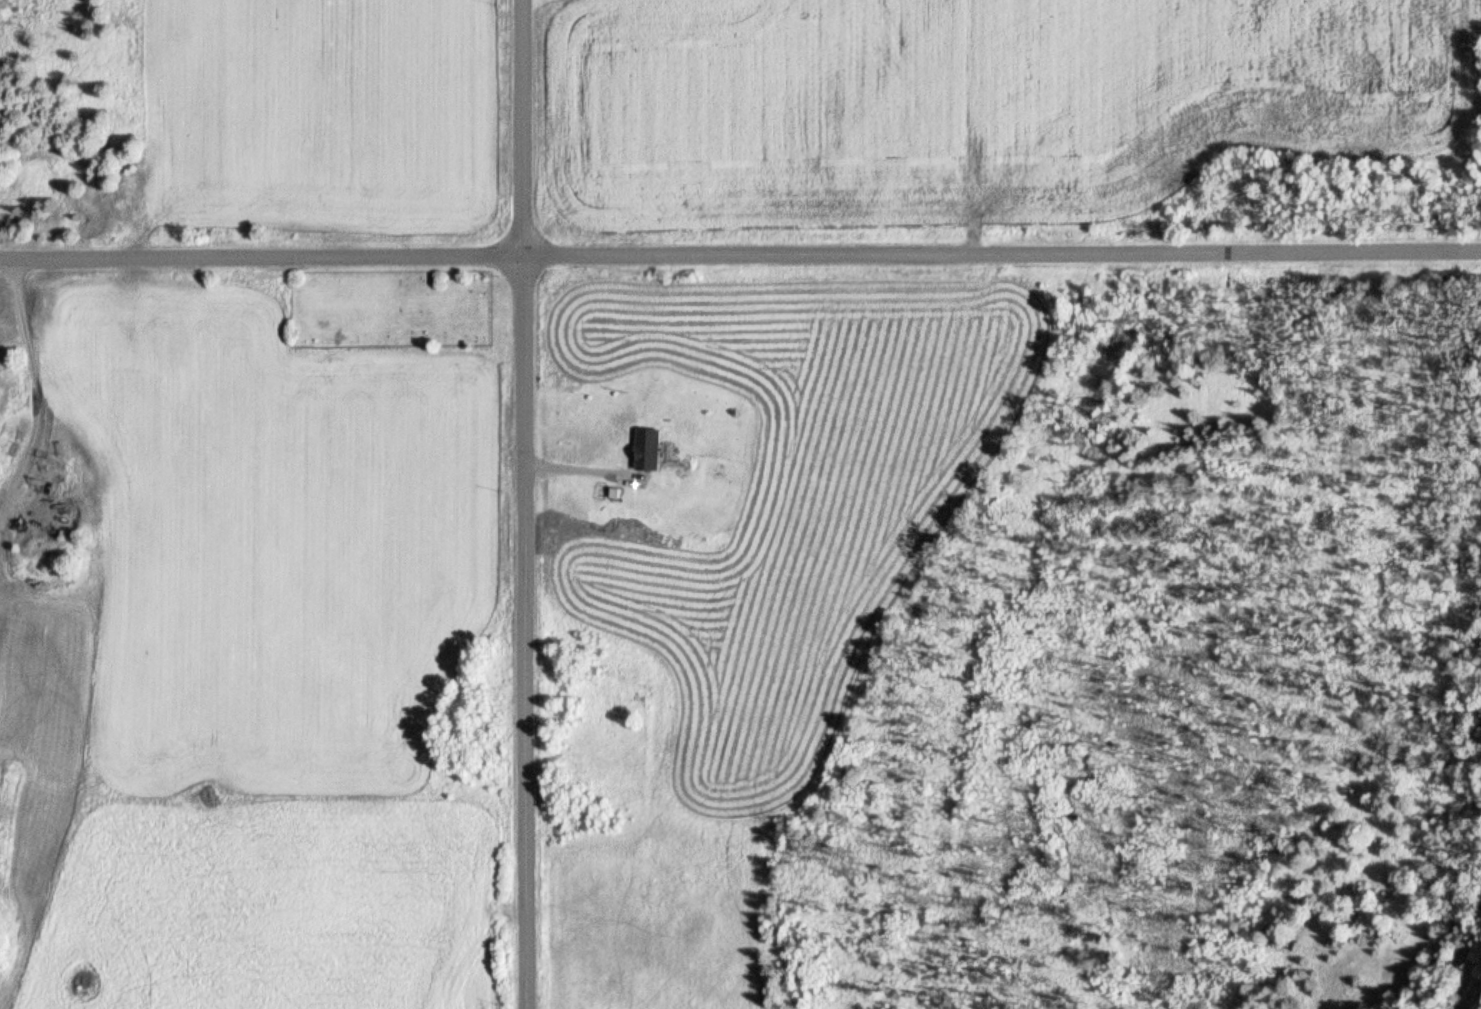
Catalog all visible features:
road: (740, 256)
park: (410, 305)
building: (653, 446)
road: (591, 471)
road: (531, 504)

